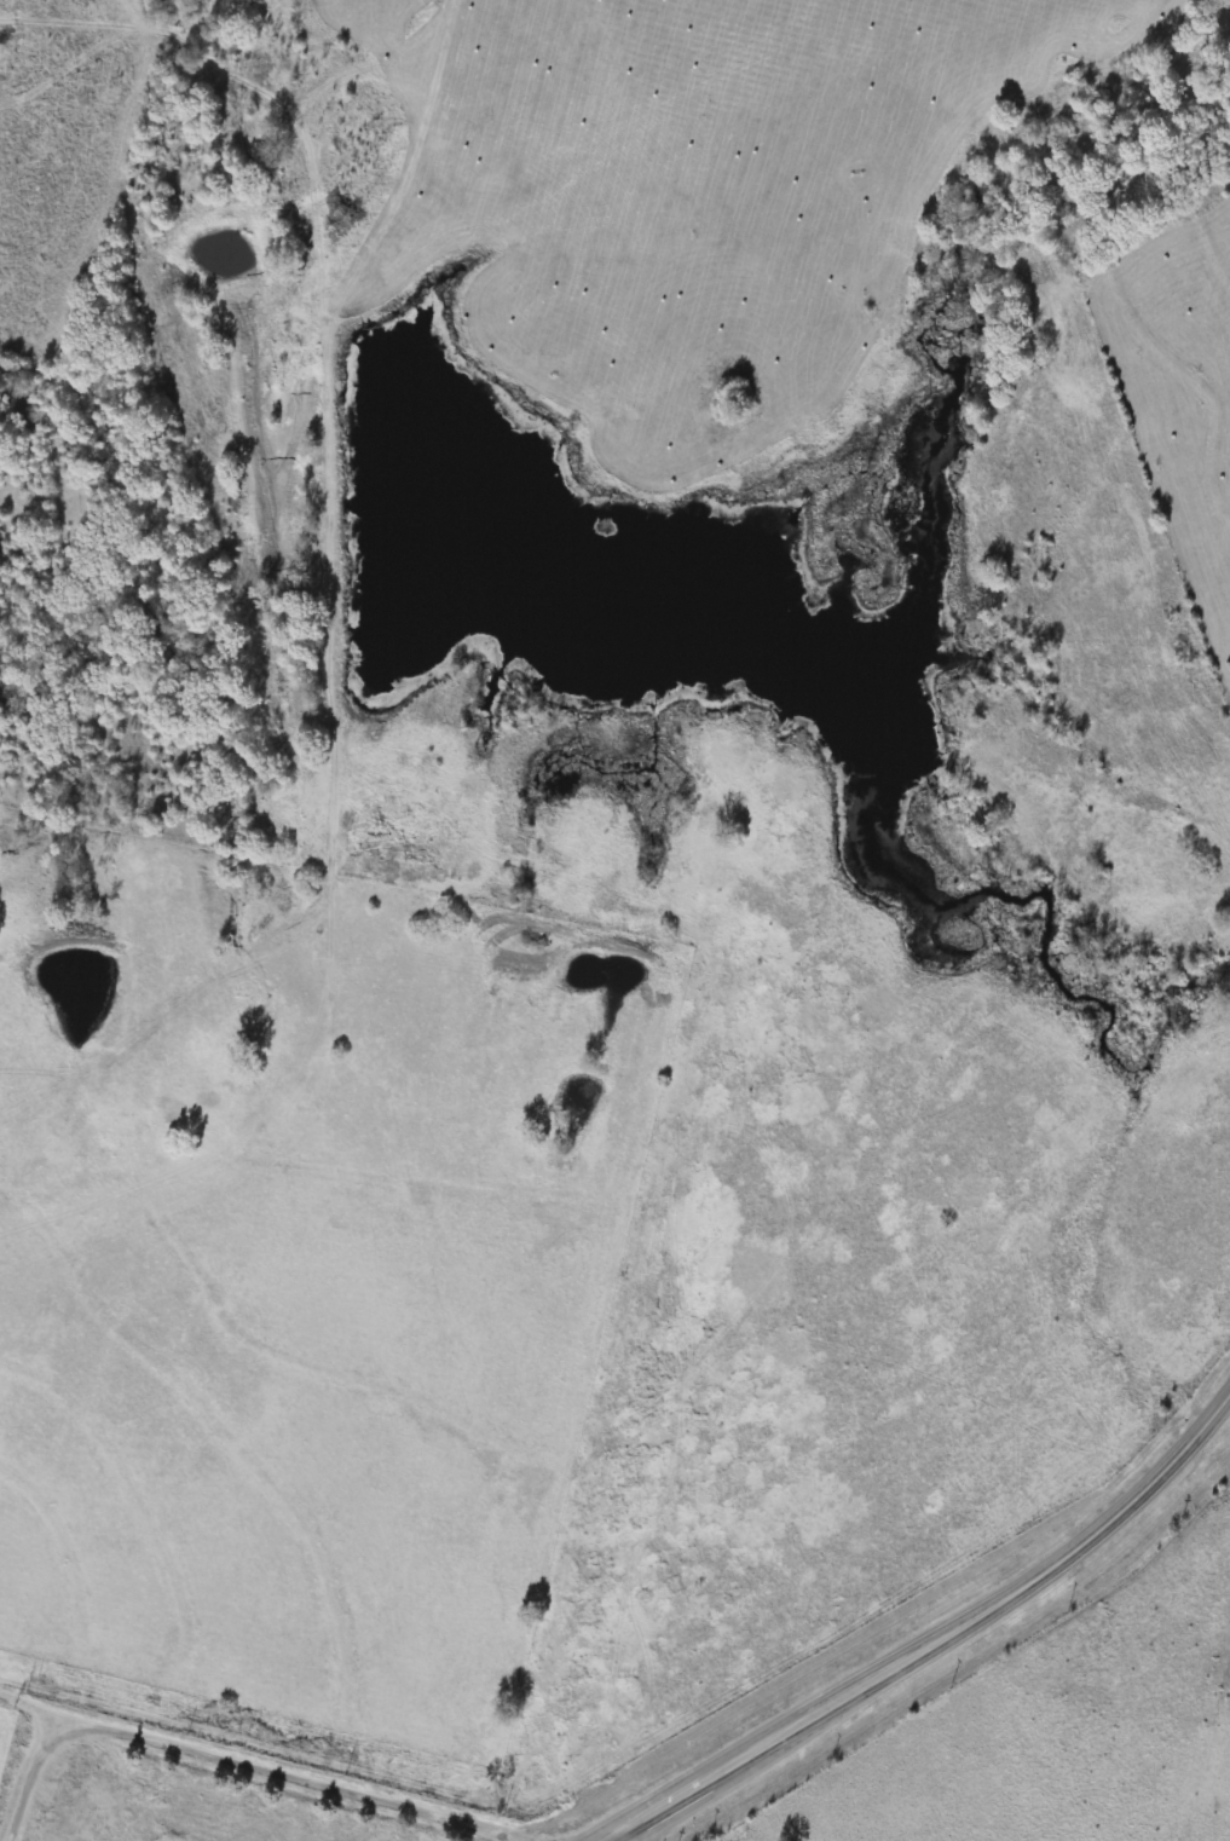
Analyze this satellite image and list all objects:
road: (929, 1640)
road: (39, 1710)
road: (239, 1764)

